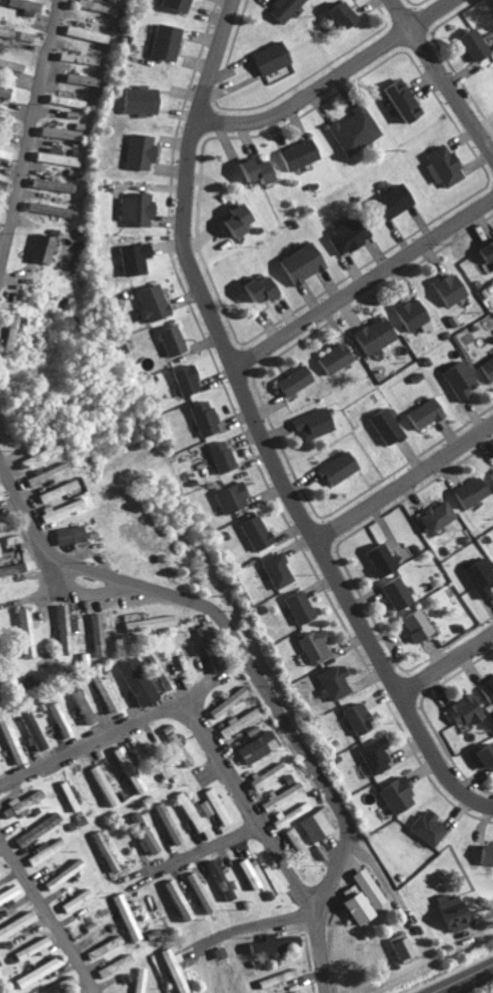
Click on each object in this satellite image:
building: (170, 5)
building: (21, 6)
building: (90, 6)
building: (279, 9)
building: (333, 15)
building: (5, 31)
building: (81, 32)
building: (159, 41)
building: (467, 43)
building: (74, 57)
building: (265, 57)
building: (11, 65)
road: (330, 75)
building: (78, 78)
road: (441, 80)
building: (3, 89)
building: (133, 98)
building: (395, 98)
building: (63, 100)
building: (349, 129)
road: (29, 131)
building: (57, 132)
building: (134, 150)
building: (3, 152)
building: (293, 153)
building: (51, 156)
building: (437, 164)
building: (249, 169)
building: (49, 184)
building: (387, 201)
building: (42, 207)
building: (130, 207)
building: (230, 218)
building: (343, 234)
building: (37, 248)
building: (485, 251)
building: (129, 257)
building: (295, 262)
road: (364, 278)
building: (252, 287)
building: (443, 288)
building: (147, 301)
building: (405, 313)
building: (8, 329)
building: (369, 334)
building: (166, 338)
building: (329, 357)
building: (486, 367)
building: (455, 378)
building: (181, 379)
building: (289, 380)
building: (420, 413)
building: (199, 417)
building: (309, 422)
building: (381, 425)
road: (266, 427)
building: (35, 454)
building: (217, 455)
building: (332, 467)
building: (491, 472)
building: (43, 473)
road: (406, 477)
building: (53, 490)
building: (463, 491)
building: (227, 496)
building: (59, 508)
building: (429, 515)
building: (251, 531)
building: (66, 534)
building: (10, 538)
building: (373, 558)
building: (10, 569)
building: (272, 569)
building: (476, 576)
road: (77, 591)
building: (390, 592)
building: (294, 606)
building: (144, 623)
building: (409, 624)
building: (61, 628)
building: (23, 631)
building: (198, 632)
building: (94, 634)
road: (231, 634)
building: (310, 645)
road: (444, 661)
building: (177, 662)
building: (133, 681)
building: (329, 681)
building: (485, 688)
building: (101, 691)
building: (74, 695)
building: (225, 701)
building: (458, 710)
road: (151, 712)
building: (85, 717)
building: (351, 717)
building: (58, 719)
building: (236, 722)
building: (31, 729)
building: (10, 740)
building: (253, 747)
building: (176, 748)
building: (369, 755)
building: (480, 756)
building: (125, 769)
building: (159, 769)
building: (263, 775)
building: (100, 785)
building: (65, 795)
building: (391, 795)
building: (278, 796)
building: (20, 803)
building: (210, 806)
building: (186, 810)
building: (288, 814)
building: (133, 818)
building: (165, 822)
building: (311, 825)
building: (422, 827)
building: (34, 830)
building: (144, 839)
building: (293, 841)
road: (196, 849)
building: (44, 850)
building: (103, 850)
building: (483, 854)
building: (244, 873)
building: (60, 874)
building: (216, 879)
building: (362, 887)
building: (197, 891)
building: (7, 892)
building: (176, 899)
building: (72, 900)
road: (309, 900)
building: (349, 905)
building: (444, 913)
building: (122, 916)
road: (45, 917)
road: (260, 921)
building: (16, 923)
building: (268, 943)
building: (101, 947)
building: (30, 948)
building: (396, 949)
building: (112, 965)
building: (172, 970)
building: (36, 971)
building: (273, 978)
building: (137, 979)
road: (463, 979)
building: (293, 992)

